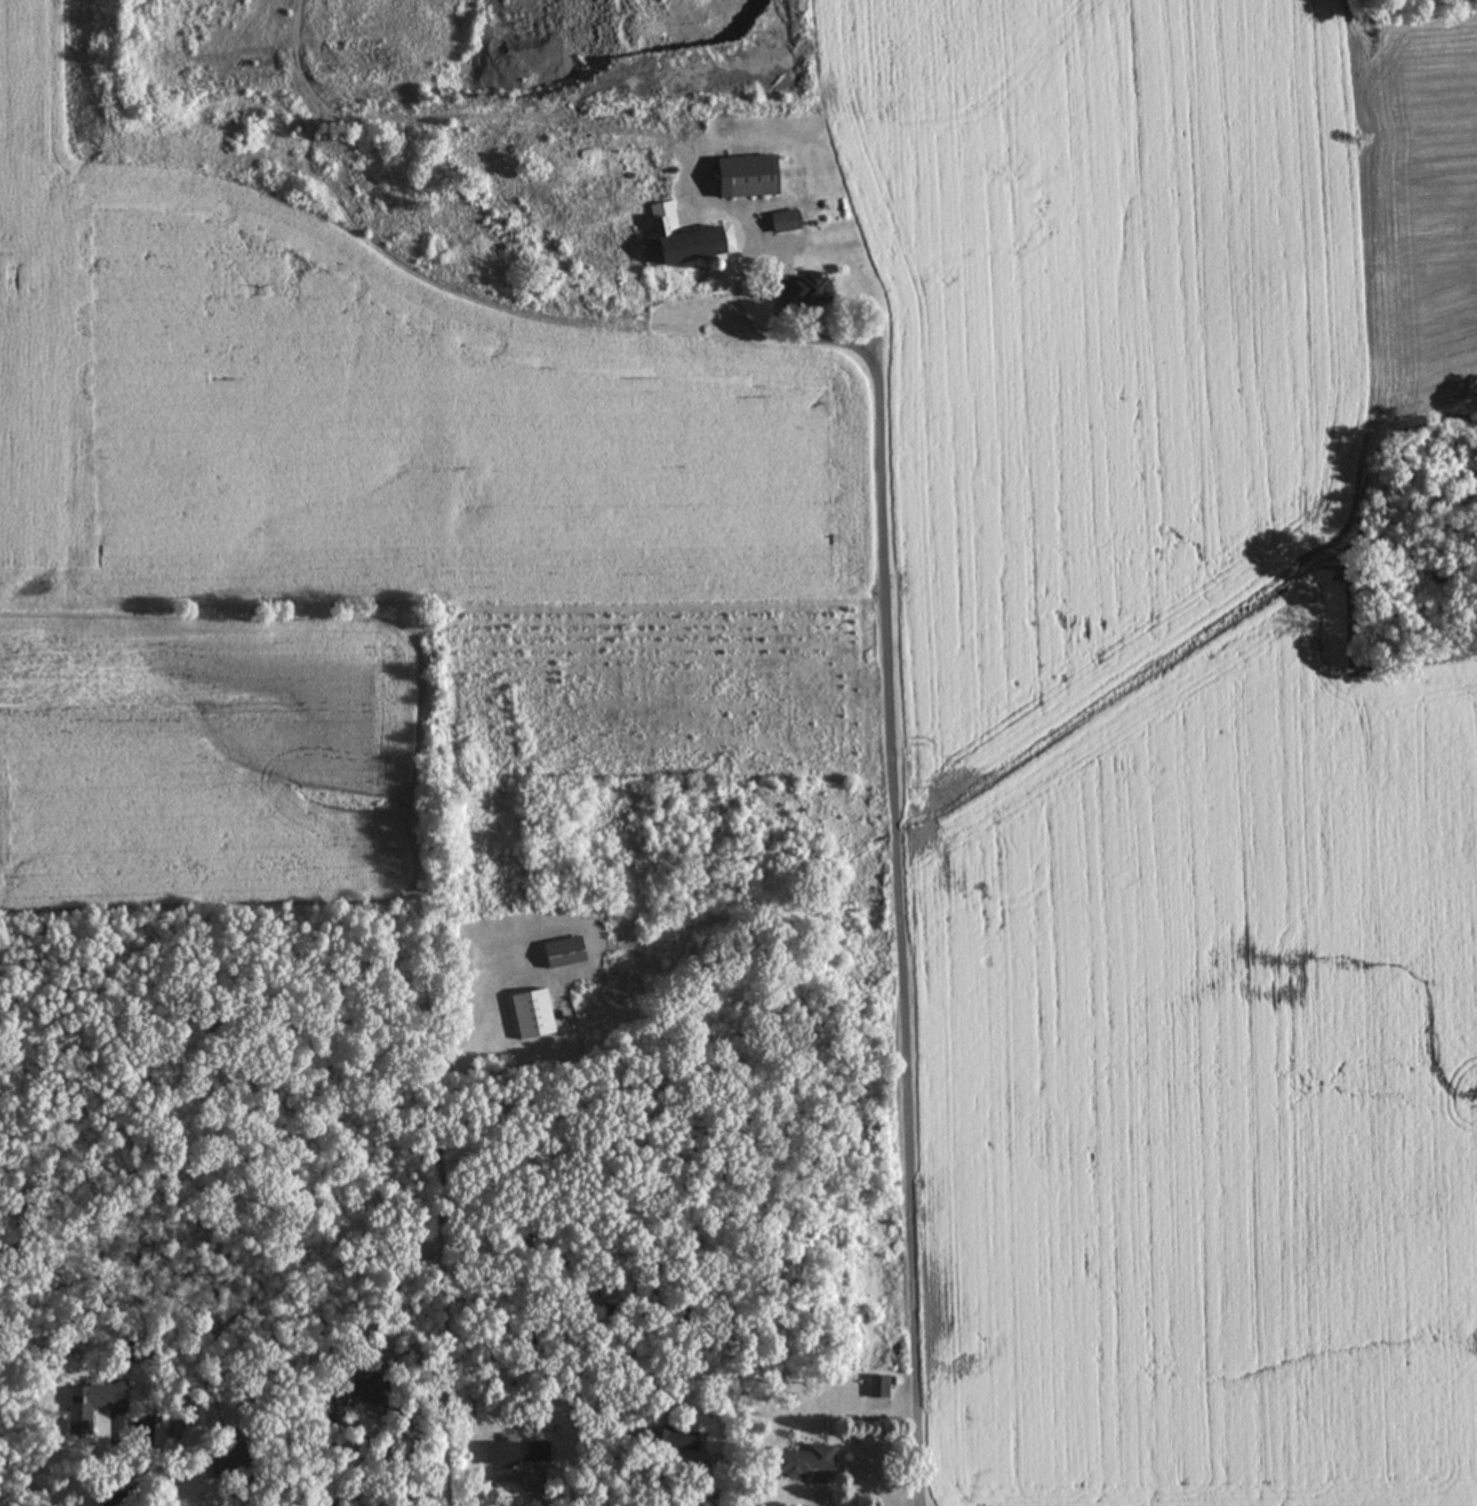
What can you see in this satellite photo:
quarry: (426, 71)
building: (743, 177)
building: (783, 221)
building: (684, 237)
building: (798, 290)
building: (475, 506)
road: (898, 850)
building: (562, 953)
building: (531, 1015)
road: (447, 1273)
building: (360, 1387)
building: (876, 1387)
building: (89, 1405)
building: (671, 1441)
road: (357, 1452)
building: (516, 1455)
building: (802, 1462)
building: (223, 1466)
road: (508, 1475)

